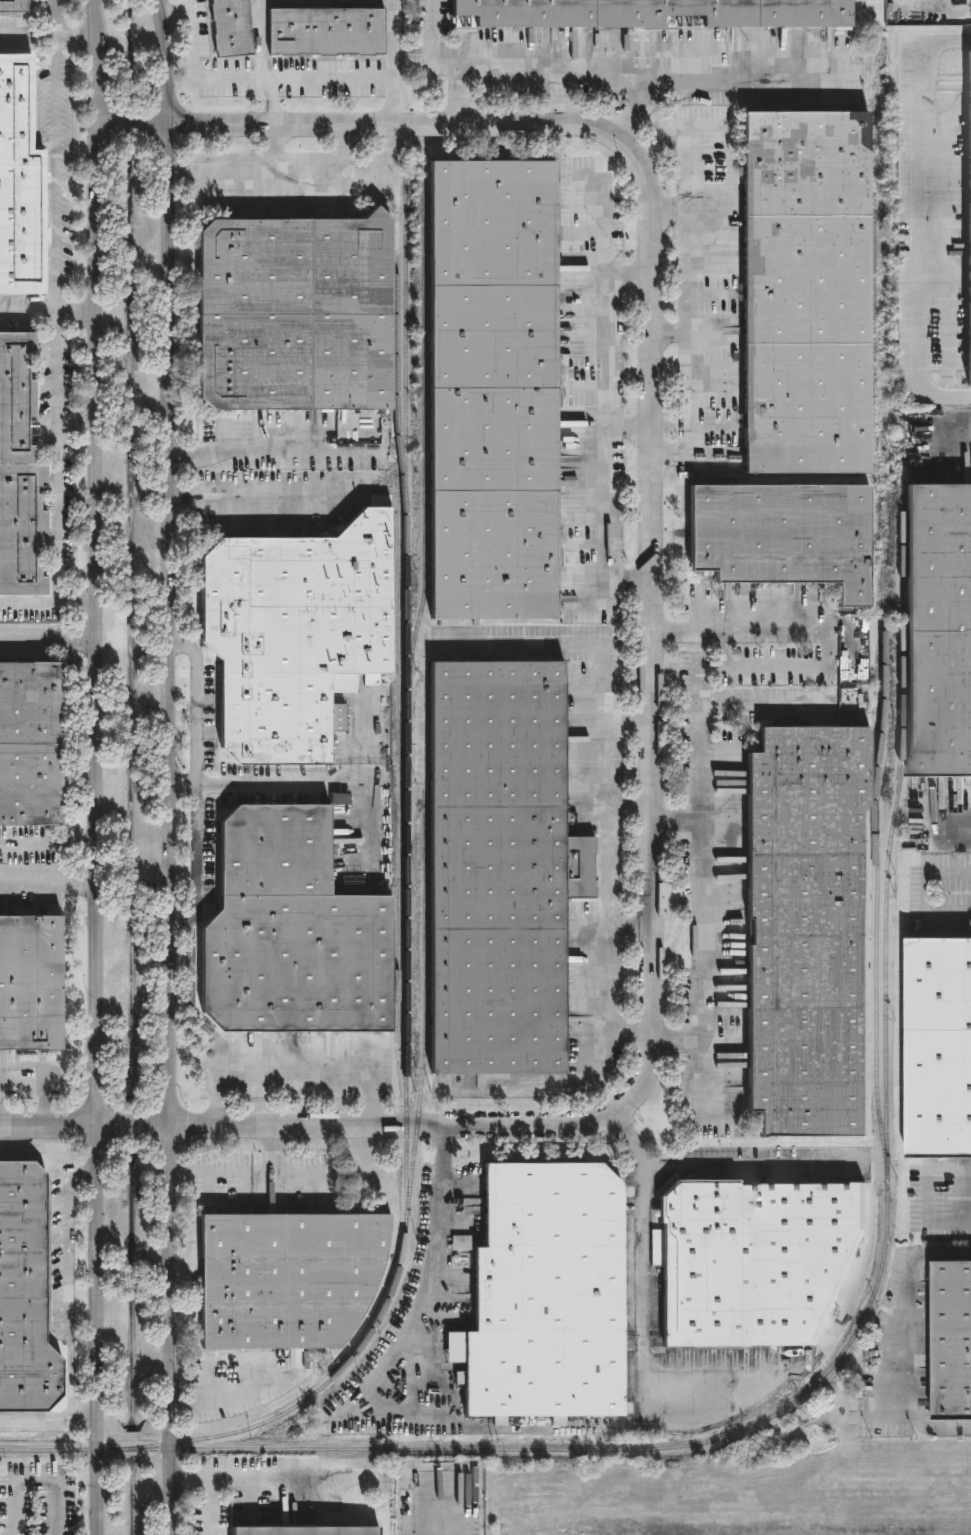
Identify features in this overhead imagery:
building: (12, 5)
building: (644, 13)
road: (55, 18)
building: (229, 28)
building: (323, 32)
road: (48, 36)
road: (434, 44)
road: (263, 61)
road: (391, 61)
road: (645, 65)
road: (254, 78)
road: (460, 94)
road: (643, 106)
road: (692, 165)
road: (56, 173)
road: (247, 173)
road: (331, 173)
building: (17, 184)
road: (917, 218)
building: (801, 293)
railway: (873, 301)
road: (600, 307)
road: (48, 309)
road: (692, 313)
building: (292, 314)
road: (673, 333)
railway: (396, 390)
building: (489, 390)
road: (274, 450)
railway: (423, 450)
road: (60, 457)
road: (692, 458)
building: (17, 476)
road: (600, 491)
road: (265, 495)
building: (779, 537)
road: (628, 574)
road: (49, 604)
road: (828, 628)
road: (655, 630)
building: (937, 631)
building: (291, 635)
road: (49, 643)
railway: (396, 672)
road: (698, 682)
railway: (884, 718)
road: (605, 724)
building: (28, 746)
road: (98, 767)
road: (170, 767)
road: (264, 783)
road: (197, 785)
road: (678, 822)
road: (955, 827)
road: (700, 833)
road: (49, 843)
building: (502, 868)
road: (48, 880)
road: (926, 893)
building: (287, 933)
building: (805, 933)
railway: (406, 962)
building: (28, 984)
railway: (397, 984)
railway: (424, 1015)
building: (937, 1050)
road: (585, 1074)
road: (294, 1076)
road: (704, 1078)
road: (40, 1083)
road: (48, 1128)
road: (273, 1152)
road: (754, 1165)
road: (243, 1174)
road: (950, 1219)
building: (750, 1261)
building: (283, 1277)
road: (69, 1279)
building: (22, 1294)
building: (544, 1294)
road: (651, 1301)
railway: (866, 1305)
road: (409, 1333)
road: (907, 1341)
building: (950, 1341)
road: (228, 1395)
road: (53, 1423)
road: (258, 1477)
road: (35, 1480)
building: (299, 1531)

